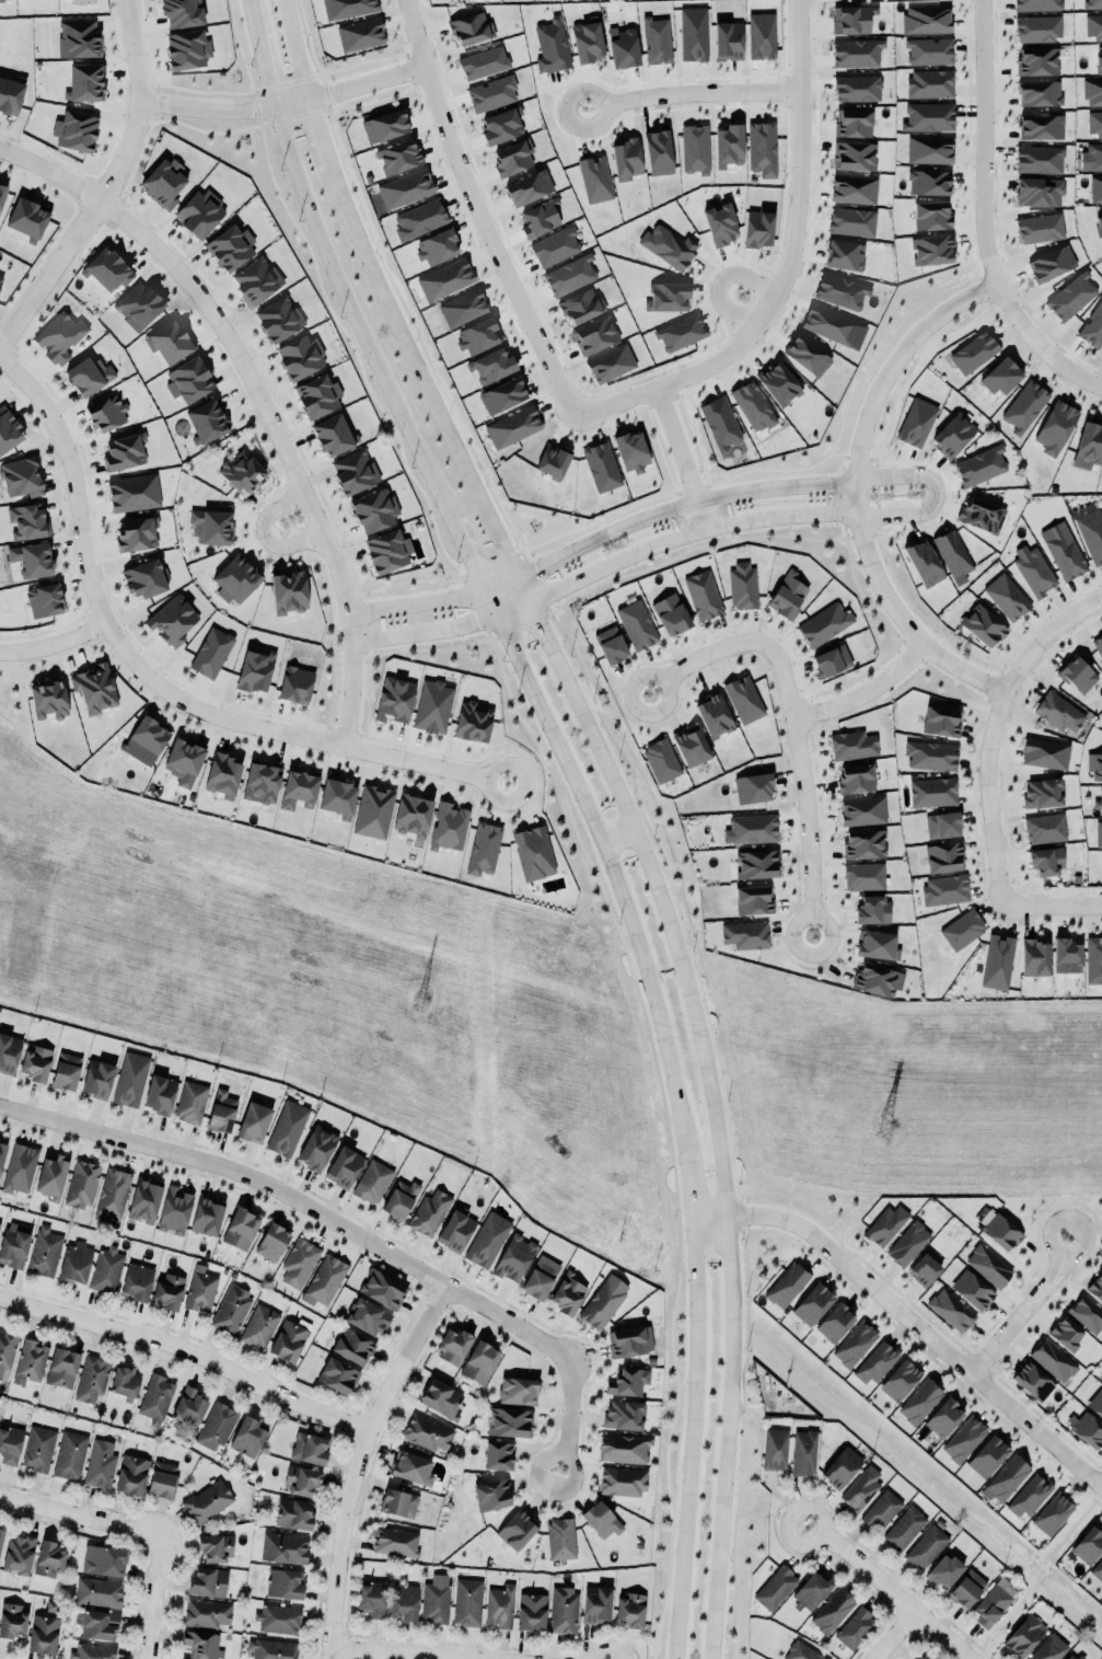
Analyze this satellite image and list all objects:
building: (1093, 3)
building: (1036, 4)
building: (347, 8)
building: (182, 12)
building: (851, 19)
building: (926, 19)
building: (1037, 27)
building: (471, 28)
road: (411, 32)
building: (693, 33)
building: (361, 34)
building: (762, 35)
building: (79, 38)
building: (728, 38)
building: (657, 39)
building: (588, 41)
building: (552, 46)
road: (292, 48)
building: (624, 48)
building: (187, 49)
building: (929, 50)
road: (260, 53)
building: (856, 53)
building: (1099, 59)
building: (1036, 60)
building: (484, 62)
road: (358, 81)
building: (85, 82)
building: (930, 83)
building: (857, 88)
building: (491, 93)
building: (1040, 93)
building: (10, 94)
road: (685, 94)
road: (220, 108)
building: (928, 116)
building: (852, 123)
building: (1094, 124)
building: (385, 125)
building: (501, 125)
building: (1041, 126)
building: (76, 130)
road: (312, 133)
road: (985, 143)
building: (729, 146)
building: (762, 148)
building: (695, 149)
building: (929, 149)
building: (658, 152)
building: (399, 155)
building: (854, 155)
building: (512, 157)
building: (626, 159)
building: (1039, 159)
building: (594, 178)
building: (164, 182)
building: (928, 182)
building: (529, 187)
road: (108, 188)
building: (406, 188)
building: (854, 188)
building: (1095, 188)
building: (1039, 192)
building: (2, 193)
building: (200, 212)
building: (931, 215)
building: (27, 217)
building: (419, 219)
building: (540, 219)
building: (851, 221)
building: (720, 223)
building: (758, 227)
building: (1099, 227)
building: (1040, 228)
road: (484, 240)
building: (437, 246)
building: (555, 246)
building: (669, 246)
building: (231, 247)
building: (932, 250)
building: (844, 254)
building: (1052, 263)
building: (107, 269)
road: (780, 269)
building: (570, 275)
building: (0, 277)
road: (720, 278)
building: (256, 279)
building: (445, 279)
building: (840, 290)
building: (668, 296)
building: (1071, 296)
building: (138, 306)
building: (581, 306)
building: (463, 307)
road: (353, 315)
building: (279, 318)
building: (830, 323)
building: (1093, 325)
building: (681, 333)
building: (478, 335)
building: (594, 335)
building: (60, 336)
building: (170, 341)
road: (1041, 345)
building: (974, 352)
building: (807, 355)
building: (301, 356)
building: (611, 362)
building: (491, 365)
building: (89, 375)
building: (1002, 376)
building: (189, 379)
building: (779, 382)
road: (259, 395)
building: (317, 395)
building: (502, 395)
building: (753, 406)
building: (1024, 406)
building: (106, 413)
building: (207, 420)
building: (916, 422)
building: (720, 423)
building: (513, 426)
building: (1056, 427)
building: (8, 429)
building: (953, 434)
building: (334, 435)
building: (1090, 441)
building: (124, 451)
building: (630, 451)
road: (677, 458)
building: (553, 461)
building: (602, 465)
building: (981, 465)
building: (355, 471)
building: (242, 472)
building: (22, 476)
road: (858, 491)
building: (134, 492)
road: (937, 493)
building: (374, 509)
building: (978, 514)
building: (27, 521)
building: (212, 525)
building: (137, 533)
building: (1091, 533)
road: (265, 534)
road: (602, 538)
building: (1064, 550)
building: (387, 551)
road: (469, 553)
building: (952, 553)
building: (32, 558)
building: (924, 563)
road: (604, 567)
building: (1033, 569)
building: (146, 577)
building: (236, 579)
building: (742, 584)
building: (289, 591)
building: (704, 595)
building: (788, 595)
building: (1007, 597)
building: (45, 599)
road: (491, 600)
building: (671, 613)
building: (172, 620)
building: (637, 624)
building: (825, 624)
building: (983, 625)
road: (1046, 638)
road: (55, 643)
building: (1099, 643)
building: (611, 645)
building: (211, 652)
road: (703, 656)
building: (832, 660)
building: (256, 670)
building: (1077, 675)
road: (155, 679)
building: (295, 683)
building: (95, 687)
road: (867, 692)
building: (48, 699)
building: (395, 699)
building: (744, 699)
building: (432, 706)
building: (1058, 711)
building: (714, 715)
building: (941, 721)
building: (473, 722)
building: (149, 736)
building: (692, 745)
building: (854, 745)
building: (1045, 752)
building: (931, 754)
building: (661, 760)
building: (184, 761)
building: (1094, 764)
building: (223, 774)
building: (856, 777)
building: (262, 781)
road: (805, 784)
building: (753, 787)
building: (299, 788)
building: (932, 792)
building: (1043, 792)
building: (338, 797)
road: (989, 798)
building: (1099, 803)
building: (373, 810)
building: (862, 810)
building: (413, 815)
building: (942, 825)
building: (449, 826)
building: (1045, 828)
building: (751, 829)
building: (1099, 833)
building: (863, 843)
building: (484, 849)
building: (534, 852)
building: (944, 856)
building: (1046, 860)
road: (611, 863)
building: (757, 863)
building: (865, 876)
road: (654, 880)
building: (946, 889)
building: (754, 899)
road: (1053, 905)
building: (873, 910)
building: (963, 929)
building: (745, 934)
building: (877, 944)
building: (1067, 955)
building: (1035, 957)
building: (1093, 959)
building: (998, 960)
building: (875, 979)
power tower: (416, 995)
building: (9, 1052)
building: (35, 1063)
building: (66, 1071)
building: (97, 1078)
building: (130, 1079)
building: (160, 1094)
building: (192, 1102)
building: (221, 1110)
building: (254, 1121)
power tower: (916, 1127)
building: (287, 1128)
building: (316, 1148)
building: (2, 1151)
building: (344, 1166)
building: (20, 1167)
road: (687, 1175)
building: (51, 1176)
building: (373, 1182)
building: (82, 1184)
building: (113, 1193)
building: (399, 1198)
building: (144, 1199)
road: (303, 1201)
building: (174, 1210)
building: (429, 1212)
building: (207, 1214)
building: (0, 1219)
building: (886, 1224)
building: (240, 1228)
building: (456, 1229)
building: (999, 1229)
building: (487, 1239)
building: (272, 1242)
building: (908, 1243)
building: (14, 1244)
building: (45, 1251)
building: (514, 1257)
building: (299, 1261)
building: (76, 1263)
building: (988, 1265)
building: (106, 1269)
building: (924, 1269)
building: (541, 1277)
building: (325, 1280)
building: (137, 1281)
building: (787, 1286)
building: (1095, 1287)
building: (200, 1289)
building: (383, 1289)
building: (973, 1289)
building: (169, 1291)
building: (568, 1293)
building: (603, 1301)
building: (813, 1303)
road: (1026, 1305)
building: (231, 1309)
building: (951, 1310)
building: (1087, 1313)
building: (367, 1316)
road: (909, 1320)
building: (835, 1322)
building: (259, 1326)
building: (1066, 1333)
building: (288, 1340)
building: (630, 1340)
building: (855, 1344)
building: (352, 1346)
building: (454, 1346)
road: (188, 1348)
building: (7, 1349)
building: (1053, 1360)
building: (30, 1361)
building: (479, 1361)
building: (877, 1362)
building: (62, 1367)
building: (337, 1375)
building: (1101, 1376)
building: (92, 1378)
building: (900, 1380)
building: (627, 1381)
building: (1032, 1381)
building: (124, 1382)
building: (518, 1390)
building: (155, 1398)
building: (441, 1398)
building: (920, 1401)
building: (188, 1408)
building: (624, 1414)
building: (944, 1417)
building: (510, 1421)
road: (568, 1421)
building: (217, 1425)
building: (1086, 1429)
building: (427, 1432)
building: (247, 1437)
building: (964, 1439)
road: (692, 1440)
building: (10, 1444)
building: (309, 1448)
building: (623, 1448)
building: (38, 1449)
building: (775, 1449)
building: (804, 1452)
building: (70, 1454)
building: (498, 1455)
building: (988, 1455)
road: (358, 1461)
building: (100, 1464)
building: (413, 1467)
building: (842, 1467)
building: (131, 1474)
building: (1006, 1478)
building: (162, 1479)
building: (301, 1479)
building: (623, 1481)
building: (861, 1488)
building: (492, 1494)
building: (1030, 1495)
building: (208, 1500)
building: (398, 1502)
building: (881, 1510)
building: (293, 1512)
building: (1053, 1513)
building: (601, 1519)
building: (905, 1528)
building: (518, 1529)
road: (138, 1533)
building: (1, 1536)
building: (560, 1539)
building: (395, 1541)
building: (1089, 1544)
building: (926, 1546)
building: (214, 1547)
building: (285, 1547)
building: (18, 1554)
building: (48, 1559)
building: (103, 1559)
building: (944, 1569)
building: (1098, 1570)
building: (208, 1581)
building: (285, 1583)
building: (776, 1587)
building: (966, 1588)
road: (886, 1590)
building: (98, 1591)
building: (811, 1592)
building: (371, 1598)
building: (436, 1599)
building: (403, 1601)
building: (467, 1601)
building: (994, 1601)
building: (596, 1604)
building: (51, 1605)
building: (500, 1605)
building: (630, 1609)
building: (564, 1610)
building: (531, 1611)
building: (832, 1611)
building: (207, 1613)
building: (279, 1618)
building: (12, 1620)
building: (97, 1624)
building: (855, 1628)
building: (43, 1634)
road: (892, 1634)
building: (1024, 1634)
building: (201, 1644)
building: (1049, 1648)
building: (271, 1649)
building: (92, 1651)
building: (802, 1651)
road: (408, 1654)
building: (927, 1655)
building: (1071, 1656)

